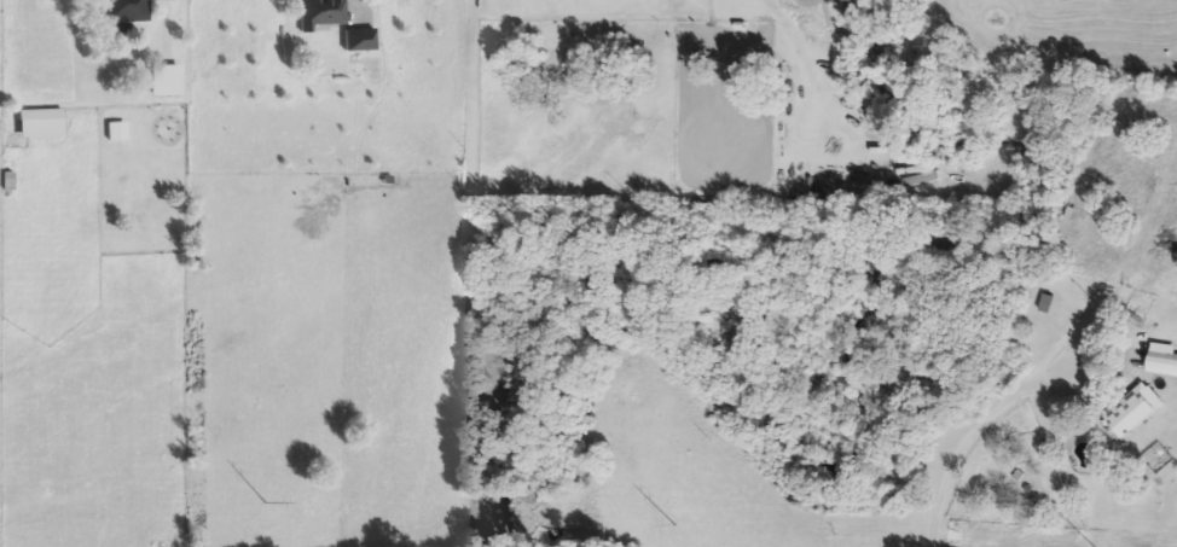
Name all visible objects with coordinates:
building: (124, 12)
building: (321, 13)
building: (358, 40)
building: (164, 81)
building: (40, 124)
building: (115, 134)
road: (1123, 342)
building: (1164, 361)
building: (1136, 412)
road: (951, 455)
power tower: (261, 501)
power tower: (673, 525)

